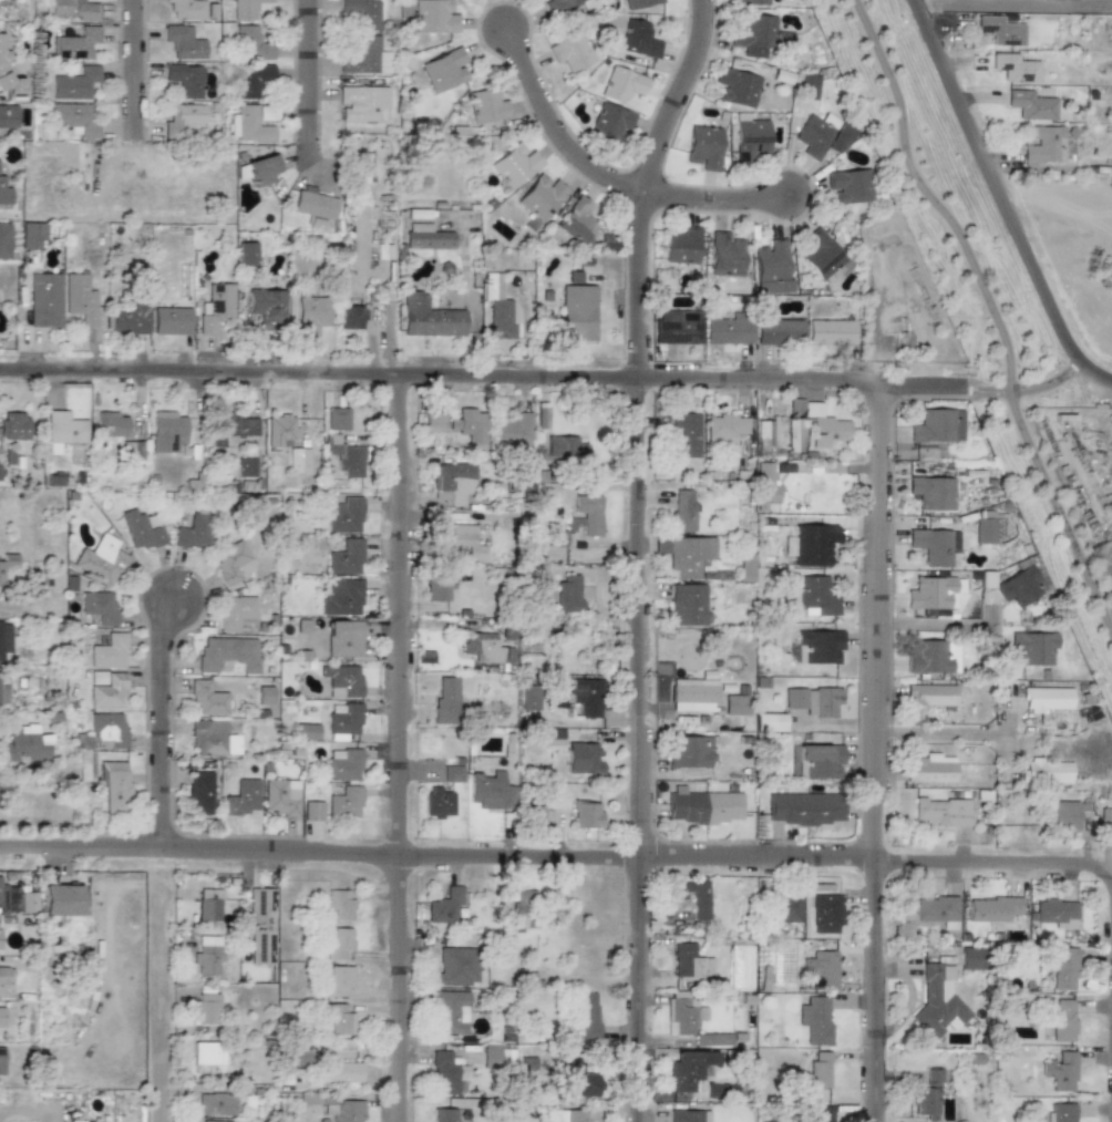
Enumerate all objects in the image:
building: (6, 2)
building: (751, 2)
road: (1012, 2)
building: (638, 3)
building: (558, 4)
building: (71, 9)
building: (186, 9)
building: (244, 9)
building: (359, 12)
building: (433, 17)
building: (999, 31)
building: (754, 35)
building: (638, 39)
building: (254, 41)
building: (183, 42)
building: (73, 44)
building: (570, 48)
building: (364, 56)
building: (1013, 68)
building: (443, 70)
road: (133, 72)
road: (308, 74)
building: (9, 79)
building: (184, 79)
building: (250, 80)
building: (74, 83)
building: (620, 84)
building: (807, 86)
building: (737, 88)
building: (362, 103)
building: (486, 105)
building: (1030, 105)
building: (8, 116)
building: (71, 119)
building: (182, 120)
building: (609, 121)
building: (251, 123)
road: (552, 132)
building: (821, 135)
building: (750, 140)
building: (703, 146)
building: (1048, 146)
building: (514, 165)
building: (260, 169)
road: (995, 181)
building: (850, 185)
building: (3, 193)
building: (540, 197)
road: (714, 202)
building: (313, 205)
building: (577, 219)
building: (32, 236)
building: (426, 237)
building: (3, 240)
building: (681, 246)
building: (247, 254)
building: (724, 255)
building: (823, 258)
building: (771, 268)
building: (80, 298)
building: (44, 299)
building: (266, 305)
building: (215, 307)
building: (498, 309)
building: (578, 313)
building: (311, 315)
road: (990, 315)
building: (130, 317)
building: (350, 317)
building: (429, 317)
building: (169, 320)
building: (676, 327)
building: (728, 329)
building: (830, 331)
building: (779, 332)
road: (1094, 371)
road: (487, 377)
road: (1028, 385)
building: (540, 415)
building: (336, 419)
building: (433, 423)
building: (110, 424)
building: (820, 424)
building: (12, 425)
building: (469, 425)
building: (937, 425)
building: (63, 428)
building: (513, 429)
building: (724, 429)
building: (279, 430)
building: (166, 431)
building: (765, 434)
building: (684, 435)
building: (793, 436)
building: (564, 450)
building: (0, 454)
building: (348, 460)
building: (298, 461)
building: (245, 466)
building: (452, 483)
building: (931, 492)
building: (682, 509)
building: (344, 515)
building: (585, 515)
building: (138, 529)
building: (985, 531)
building: (193, 532)
building: (465, 541)
building: (812, 544)
building: (934, 545)
road: (640, 555)
building: (689, 555)
building: (344, 557)
building: (101, 559)
building: (228, 562)
building: (7, 563)
building: (745, 569)
building: (1020, 586)
building: (437, 587)
building: (567, 594)
building: (934, 594)
building: (341, 597)
building: (815, 597)
building: (687, 605)
building: (99, 607)
building: (234, 611)
road: (935, 624)
building: (4, 637)
building: (343, 639)
building: (817, 646)
building: (1032, 648)
building: (485, 649)
building: (109, 651)
building: (227, 653)
building: (931, 657)
building: (97, 678)
building: (342, 680)
building: (109, 691)
building: (693, 693)
building: (2, 696)
building: (264, 696)
building: (929, 696)
building: (528, 697)
building: (586, 697)
building: (1046, 698)
building: (206, 699)
building: (445, 700)
building: (814, 700)
building: (735, 704)
building: (343, 720)
building: (769, 722)
road: (163, 725)
building: (307, 731)
road: (964, 734)
building: (553, 737)
building: (213, 739)
building: (99, 740)
building: (25, 744)
road: (398, 749)
building: (690, 752)
road: (879, 754)
building: (581, 758)
building: (817, 760)
building: (343, 764)
building: (930, 769)
building: (1046, 771)
building: (452, 773)
building: (113, 785)
building: (491, 791)
building: (200, 793)
building: (280, 796)
building: (241, 797)
building: (344, 802)
building: (437, 802)
building: (702, 806)
building: (803, 809)
building: (312, 811)
building: (941, 812)
building: (539, 814)
building: (585, 814)
building: (1062, 816)
road: (556, 854)
building: (694, 897)
building: (3, 898)
building: (61, 899)
building: (28, 902)
building: (208, 904)
building: (339, 904)
building: (444, 906)
building: (524, 908)
building: (790, 909)
building: (935, 909)
building: (991, 909)
building: (826, 913)
building: (1056, 913)
building: (259, 925)
building: (338, 944)
building: (207, 955)
building: (689, 963)
building: (456, 966)
building: (1062, 968)
building: (824, 970)
building: (3, 975)
building: (338, 980)
building: (937, 1001)
road: (157, 1006)
building: (206, 1008)
building: (450, 1012)
building: (683, 1012)
building: (587, 1015)
building: (1, 1017)
building: (338, 1019)
building: (815, 1019)
building: (1062, 1020)
building: (712, 1039)
building: (206, 1058)
building: (491, 1058)
building: (1, 1060)
building: (688, 1069)
building: (818, 1070)
building: (1060, 1071)
building: (341, 1072)
building: (443, 1073)
building: (583, 1083)
building: (721, 1090)
building: (926, 1097)
building: (216, 1103)
building: (348, 1111)
building: (821, 1113)
building: (443, 1114)
building: (570, 1115)
building: (688, 1115)
building: (74, 1121)
building: (209, 1121)

